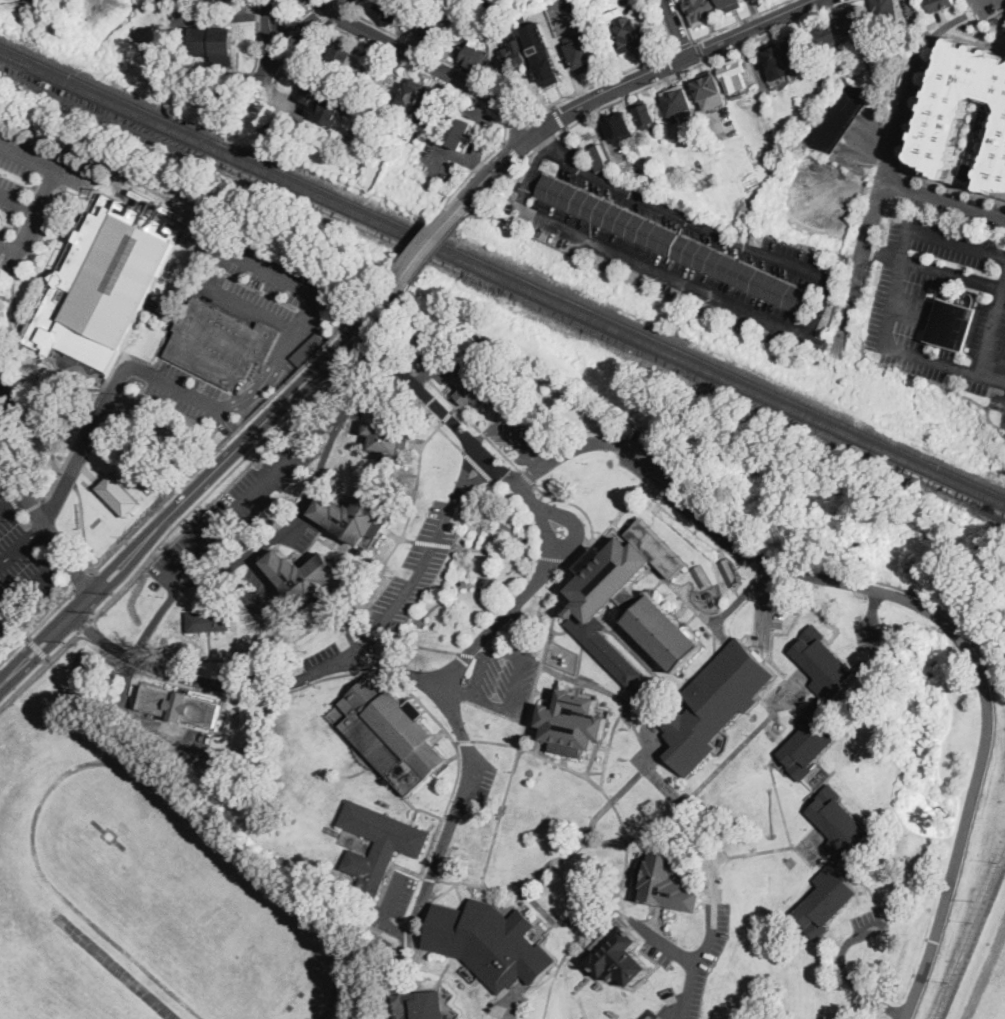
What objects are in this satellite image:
park: (4, 0)
building: (306, 0)
building: (450, 0)
building: (754, 0)
road: (980, 1)
road: (353, 4)
building: (731, 5)
building: (935, 7)
building: (395, 9)
road: (305, 11)
building: (702, 11)
road: (321, 13)
building: (886, 13)
road: (281, 14)
road: (338, 16)
building: (852, 20)
road: (309, 22)
road: (665, 24)
road: (676, 27)
road: (719, 29)
building: (626, 32)
road: (257, 35)
building: (428, 36)
building: (827, 37)
road: (171, 40)
building: (214, 44)
road: (683, 45)
building: (890, 46)
road: (279, 48)
road: (298, 50)
road: (700, 50)
building: (798, 52)
building: (541, 53)
building: (511, 54)
building: (476, 55)
building: (584, 55)
building: (337, 57)
road: (443, 59)
building: (775, 62)
road: (434, 65)
building: (733, 74)
road: (606, 78)
road: (626, 83)
road: (644, 87)
building: (709, 91)
road: (467, 94)
building: (410, 95)
building: (326, 101)
building: (678, 102)
road: (553, 106)
building: (428, 108)
building: (965, 111)
building: (645, 115)
building: (842, 115)
road: (559, 119)
road: (523, 123)
building: (620, 128)
building: (458, 132)
building: (384, 139)
road: (542, 139)
road: (444, 150)
road: (512, 151)
building: (598, 158)
road: (43, 165)
road: (481, 167)
road: (885, 174)
parking lot: (27, 193)
road: (944, 199)
road: (19, 201)
road: (460, 205)
road: (33, 220)
road: (43, 232)
road: (418, 240)
road: (428, 244)
building: (675, 245)
road: (440, 249)
road: (883, 256)
railway: (502, 268)
road: (277, 275)
road: (954, 277)
railway: (502, 278)
road: (398, 283)
building: (105, 284)
parking lot: (268, 287)
park: (142, 288)
railway: (502, 288)
road: (374, 292)
road: (13, 293)
road: (6, 298)
road: (400, 300)
road: (895, 300)
building: (954, 321)
road: (381, 328)
road: (993, 334)
road: (798, 335)
road: (396, 341)
building: (220, 344)
building: (307, 350)
road: (7, 366)
road: (111, 372)
building: (475, 384)
road: (186, 390)
parking lot: (184, 392)
road: (5, 394)
road: (45, 394)
road: (263, 421)
road: (466, 432)
road: (92, 433)
road: (510, 435)
building: (387, 440)
parking lot: (516, 440)
road: (225, 443)
road: (467, 463)
road: (275, 472)
road: (226, 473)
road: (91, 474)
road: (480, 476)
road: (67, 477)
road: (3, 487)
road: (28, 495)
building: (119, 496)
parking lot: (244, 497)
road: (11, 499)
road: (13, 501)
railway: (972, 502)
road: (33, 503)
road: (21, 508)
building: (356, 516)
road: (83, 527)
road: (290, 528)
road: (23, 544)
road: (477, 548)
parking lot: (21, 572)
building: (728, 572)
road: (112, 573)
theme park: (25, 574)
building: (702, 576)
building: (304, 577)
parking lot: (408, 577)
road: (83, 581)
road: (413, 582)
building: (487, 584)
road: (32, 585)
road: (364, 585)
building: (433, 590)
road: (763, 590)
road: (562, 592)
parking lot: (259, 593)
building: (629, 603)
road: (915, 603)
road: (83, 605)
parking lot: (768, 608)
road: (273, 614)
road: (873, 618)
building: (208, 621)
road: (155, 622)
road: (84, 624)
road: (37, 626)
parking lot: (868, 632)
road: (37, 647)
road: (35, 650)
road: (368, 665)
road: (38, 667)
parking lot: (501, 683)
building: (817, 702)
building: (715, 704)
building: (180, 707)
building: (572, 724)
building: (391, 734)
road: (456, 807)
road: (626, 839)
building: (378, 845)
building: (833, 863)
building: (666, 883)
parking lot: (397, 894)
road: (386, 911)
building: (489, 943)
road: (666, 943)
parking lot: (662, 948)
building: (618, 956)
road: (697, 960)
parking lot: (700, 964)
road: (536, 987)
building: (418, 1005)
road: (514, 1009)

